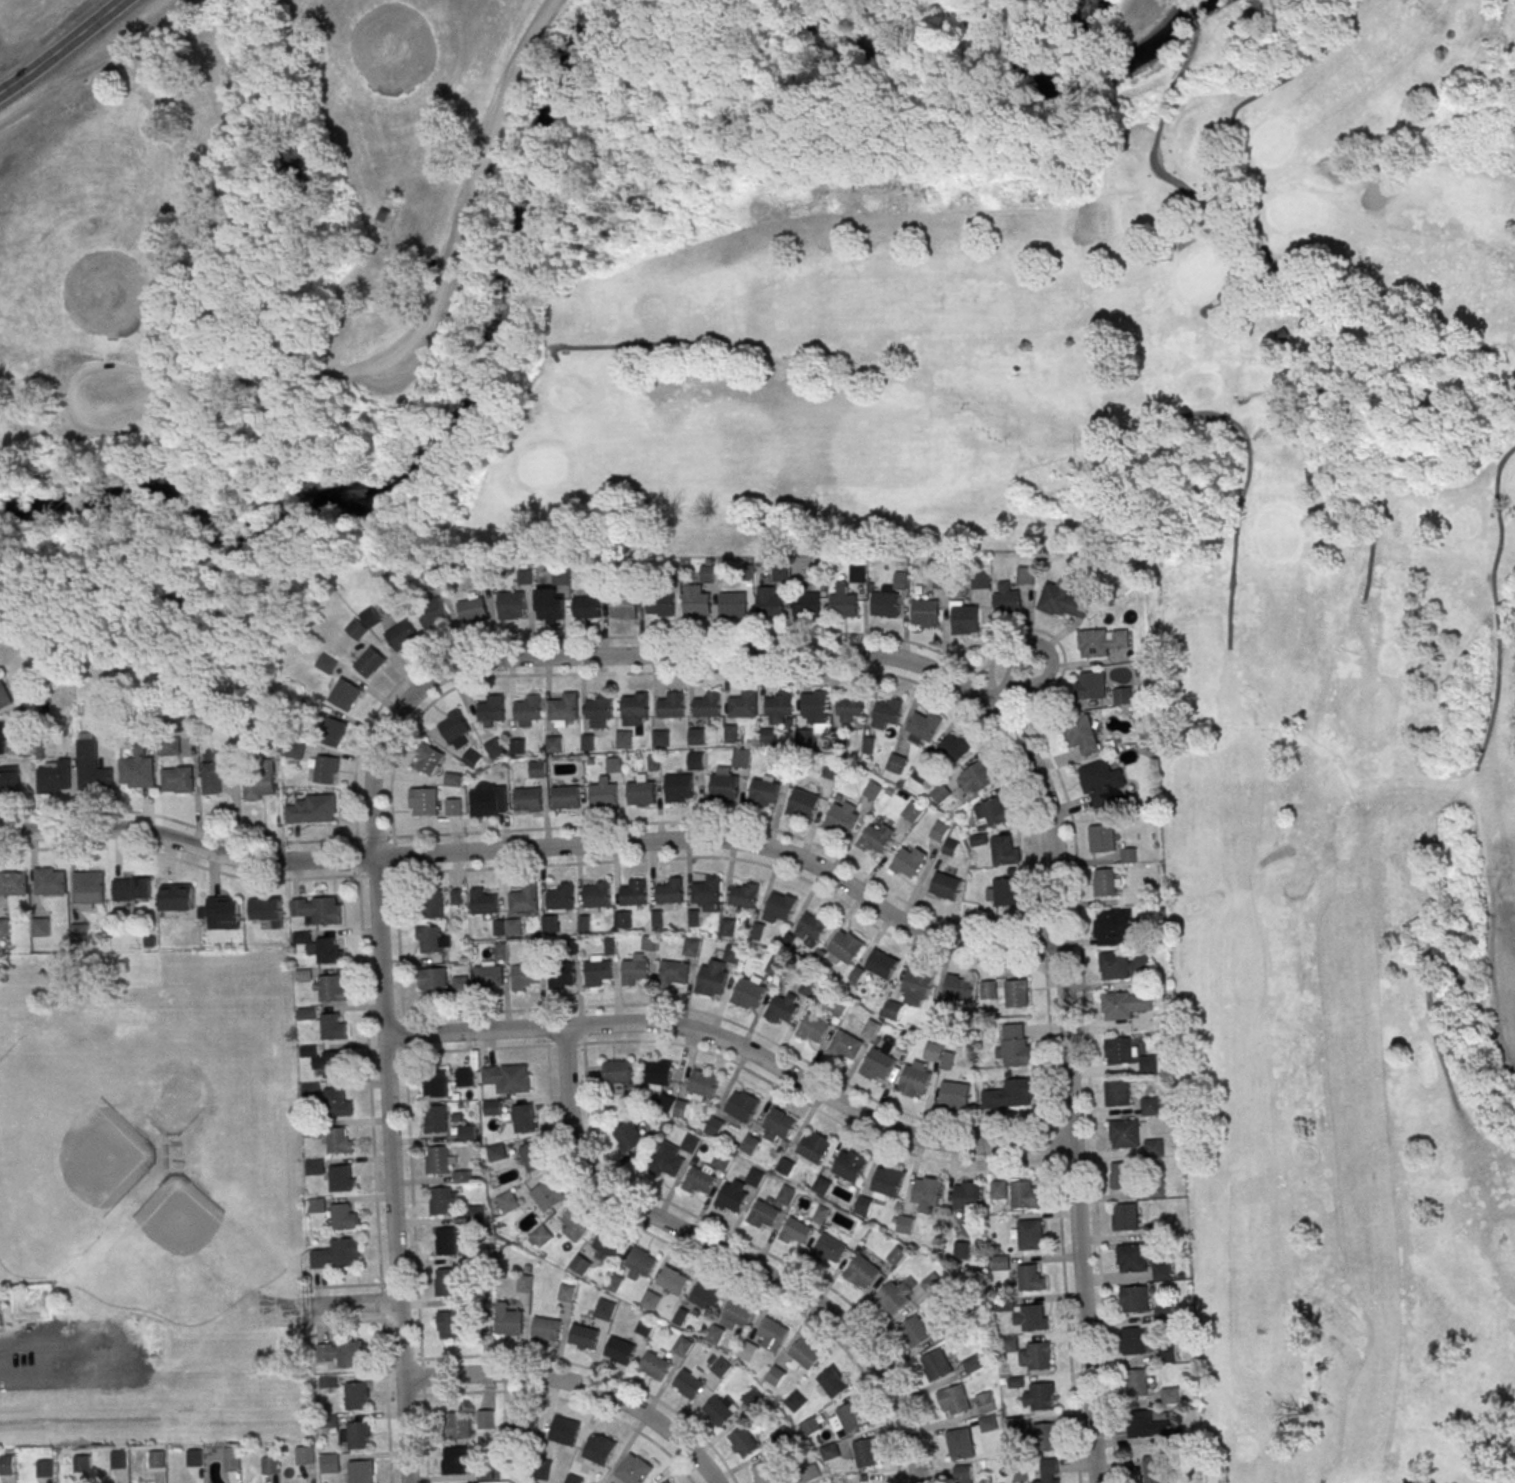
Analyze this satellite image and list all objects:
park: (384, 28)
park: (52, 38)
road: (61, 47)
road: (98, 64)
river: (1078, 82)
park: (806, 103)
parking lot: (494, 149)
building: (384, 215)
road: (394, 217)
park: (76, 253)
park: (286, 256)
road: (431, 318)
road: (413, 383)
parking lot: (116, 400)
river: (433, 445)
building: (707, 573)
building: (857, 574)
building: (561, 576)
building: (1025, 576)
park: (141, 578)
building: (435, 578)
building: (979, 580)
building: (695, 599)
building: (887, 599)
building: (1006, 599)
building: (1061, 600)
building: (769, 602)
building: (842, 602)
building: (549, 604)
building: (732, 604)
building: (805, 604)
building: (511, 605)
building: (623, 605)
building: (660, 605)
building: (586, 606)
park: (1187, 609)
building: (473, 610)
building: (924, 611)
building: (434, 616)
building: (372, 617)
building: (964, 617)
building: (358, 629)
building: (402, 634)
road: (529, 639)
building: (1101, 641)
road: (614, 656)
building: (370, 661)
building: (1089, 685)
building: (4, 689)
building: (345, 694)
building: (1122, 695)
building: (779, 703)
building: (708, 704)
building: (743, 704)
building: (671, 705)
building: (564, 706)
building: (599, 706)
building: (528, 707)
building: (813, 707)
building: (849, 707)
building: (491, 708)
building: (634, 708)
building: (886, 713)
building: (454, 727)
building: (922, 727)
building: (332, 731)
building: (730, 733)
building: (1081, 734)
building: (696, 736)
building: (6, 737)
building: (624, 739)
building: (586, 742)
building: (553, 744)
building: (171, 746)
building: (517, 746)
building: (955, 746)
building: (494, 747)
building: (294, 750)
building: (471, 758)
building: (740, 758)
building: (428, 759)
building: (695, 760)
building: (896, 763)
building: (613, 764)
building: (325, 769)
building: (537, 769)
building: (832, 770)
building: (92, 771)
building: (137, 772)
building: (920, 773)
building: (216, 774)
building: (976, 777)
building: (451, 778)
building: (54, 780)
building: (178, 782)
building: (259, 784)
building: (1102, 784)
building: (723, 785)
building: (9, 786)
building: (677, 787)
building: (872, 790)
building: (763, 791)
building: (641, 792)
building: (939, 793)
building: (602, 794)
building: (565, 796)
building: (488, 800)
building: (528, 800)
building: (423, 801)
building: (803, 804)
building: (452, 806)
building: (994, 810)
building: (911, 812)
building: (311, 813)
building: (841, 817)
road: (178, 822)
road: (745, 824)
building: (939, 831)
road: (391, 837)
building: (875, 837)
building: (1102, 838)
road: (540, 848)
building: (1003, 849)
road: (179, 860)
building: (908, 861)
building: (1104, 882)
building: (49, 884)
building: (13, 886)
building: (945, 886)
building: (89, 890)
building: (670, 891)
building: (1004, 891)
building: (131, 892)
building: (634, 892)
building: (455, 893)
building: (706, 894)
building: (744, 894)
building: (597, 895)
building: (560, 896)
building: (177, 897)
building: (524, 899)
building: (483, 901)
building: (432, 903)
building: (779, 907)
building: (265, 909)
building: (222, 913)
building: (316, 913)
building: (625, 922)
building: (549, 923)
building: (507, 926)
building: (811, 926)
building: (727, 927)
building: (1113, 927)
building: (4, 929)
building: (39, 929)
building: (79, 935)
building: (301, 937)
building: (431, 939)
building: (690, 946)
building: (844, 947)
road: (934, 953)
building: (327, 954)
building: (881, 964)
building: (1122, 964)
building: (596, 970)
building: (634, 971)
building: (716, 972)
building: (673, 974)
building: (560, 975)
building: (487, 976)
building: (524, 977)
building: (432, 982)
building: (916, 986)
building: (957, 988)
building: (988, 990)
building: (748, 991)
building: (330, 993)
building: (1017, 993)
building: (1125, 1004)
road: (669, 1006)
building: (782, 1008)
building: (892, 1010)
building: (813, 1028)
building: (871, 1028)
building: (332, 1030)
building: (1015, 1045)
road: (738, 1046)
building: (845, 1046)
building: (1120, 1051)
building: (933, 1052)
building: (948, 1060)
building: (877, 1063)
building: (1148, 1064)
building: (333, 1068)
building: (617, 1071)
building: (656, 1075)
building: (464, 1077)
building: (507, 1078)
building: (915, 1078)
building: (435, 1083)
building: (702, 1086)
road: (1068, 1086)
building: (1118, 1092)
building: (954, 1093)
building: (1010, 1094)
building: (665, 1102)
building: (336, 1106)
building: (1150, 1106)
building: (492, 1107)
building: (740, 1107)
building: (435, 1118)
building: (523, 1118)
building: (777, 1125)
building: (714, 1127)
building: (466, 1132)
building: (1124, 1133)
building: (628, 1136)
building: (689, 1143)
building: (337, 1145)
building: (749, 1145)
building: (813, 1148)
building: (1154, 1148)
road: (1092, 1149)
building: (496, 1152)
building: (532, 1156)
building: (436, 1159)
building: (666, 1161)
building: (720, 1162)
building: (849, 1165)
building: (313, 1166)
building: (785, 1166)
road: (391, 1170)
building: (1122, 1175)
building: (461, 1176)
building: (754, 1177)
road: (373, 1179)
building: (700, 1180)
building: (887, 1182)
building: (339, 1183)
building: (821, 1185)
building: (999, 1189)
building: (548, 1194)
building: (786, 1194)
building: (926, 1194)
building: (1025, 1194)
building: (732, 1196)
building: (967, 1197)
building: (443, 1200)
building: (507, 1201)
park: (151, 1202)
building: (315, 1204)
building: (863, 1205)
building: (475, 1213)
building: (764, 1213)
building: (343, 1217)
building: (1125, 1217)
building: (575, 1224)
building: (905, 1224)
building: (795, 1232)
building: (1030, 1234)
building: (540, 1237)
building: (445, 1241)
building: (605, 1246)
building: (828, 1249)
road: (413, 1250)
building: (961, 1250)
building: (337, 1254)
road: (728, 1255)
building: (896, 1255)
building: (1131, 1257)
building: (1001, 1262)
building: (639, 1263)
building: (580, 1264)
building: (1162, 1271)
building: (861, 1272)
building: (1031, 1277)
building: (672, 1279)
building: (445, 1281)
building: (524, 1283)
building: (566, 1292)
building: (895, 1295)
building: (705, 1296)
building: (1135, 1299)
building: (650, 1300)
road: (354, 1304)
building: (605, 1309)
building: (737, 1313)
building: (1164, 1313)
building: (680, 1317)
building: (1030, 1317)
building: (508, 1320)
building: (451, 1324)
building: (645, 1325)
building: (546, 1328)
building: (915, 1330)
building: (714, 1334)
building: (773, 1334)
building: (584, 1336)
building: (1137, 1341)
building: (682, 1346)
building: (619, 1349)
building: (747, 1351)
building: (342, 1353)
building: (804, 1353)
building: (1168, 1354)
building: (1036, 1356)
building: (655, 1363)
building: (936, 1364)
building: (719, 1366)
building: (775, 1375)
building: (327, 1381)
building: (689, 1382)
building: (830, 1383)
building: (1137, 1383)
road: (575, 1384)
building: (357, 1395)
building: (1170, 1395)
building: (1039, 1396)
building: (753, 1399)
building: (954, 1400)
building: (720, 1408)
building: (485, 1418)
building: (848, 1418)
building: (987, 1418)
building: (458, 1424)
building: (524, 1424)
building: (1014, 1424)
building: (1144, 1424)
building: (810, 1426)
building: (564, 1430)
building: (356, 1435)
building: (782, 1435)
building: (1045, 1436)
building: (744, 1441)
building: (599, 1448)
building: (829, 1451)
building: (865, 1452)
building: (304, 1456)
building: (194, 1457)
building: (156, 1458)
building: (232, 1458)
building: (117, 1459)
building: (457, 1459)
building: (80, 1462)
building: (330, 1462)
building: (6, 1465)
building: (269, 1465)
building: (43, 1468)
building: (543, 1469)
building: (634, 1469)
building: (1154, 1469)
building: (360, 1471)
building: (1049, 1471)
building: (764, 1473)
building: (963, 1474)
building: (574, 1478)
building: (667, 1482)

